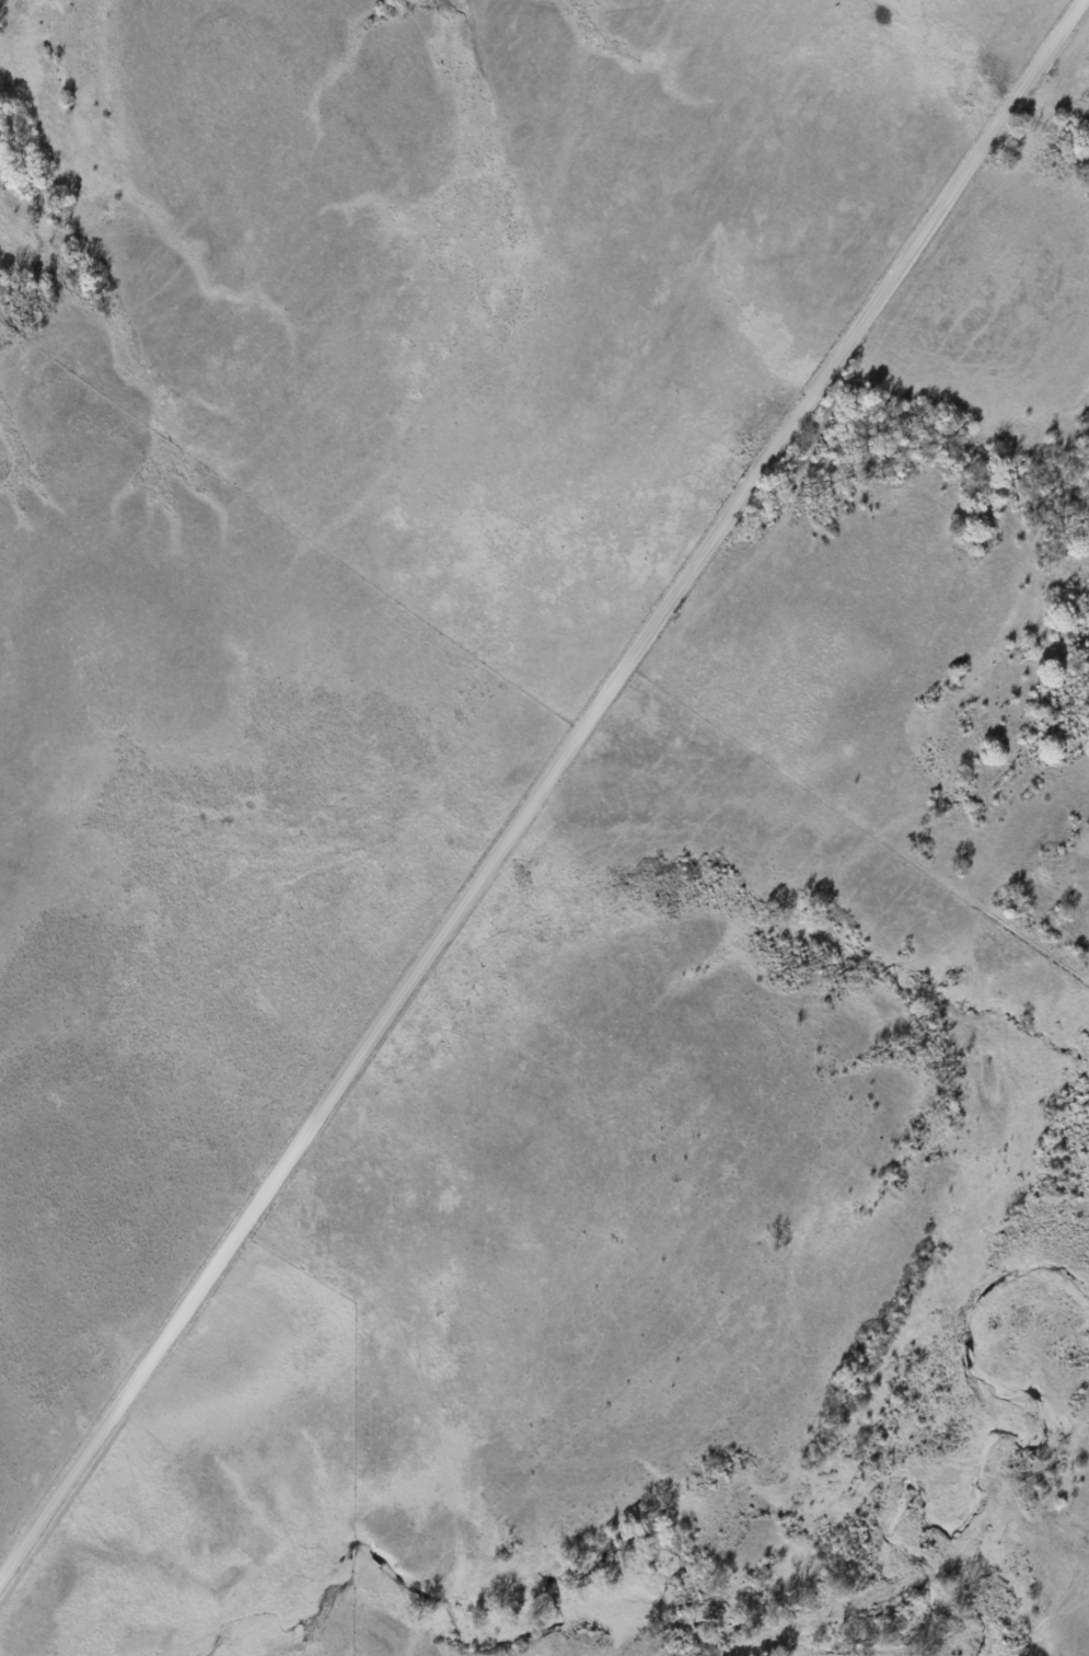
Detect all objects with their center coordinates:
road: (543, 796)

